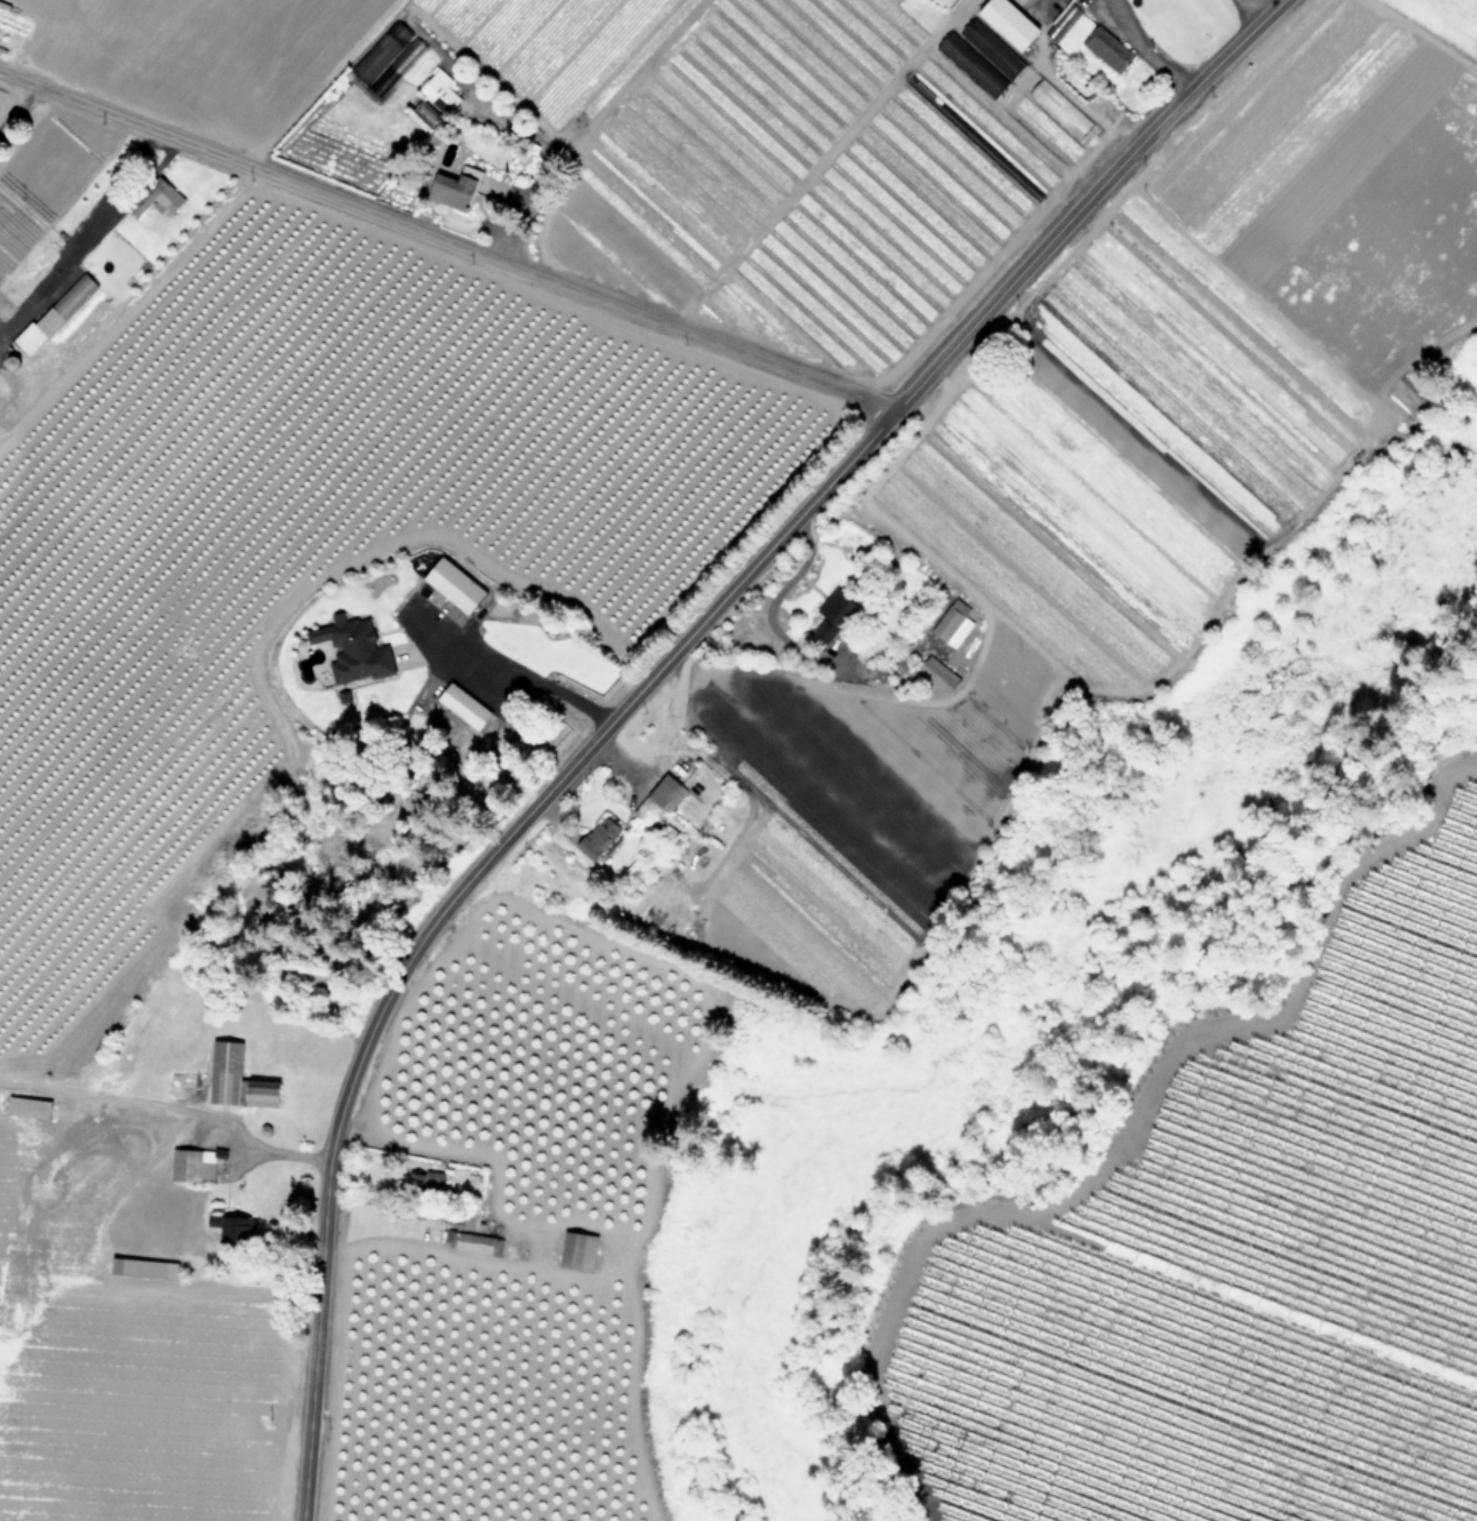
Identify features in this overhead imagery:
road: (1250, 11)
crop: (1435, 26)
building: (1108, 50)
road: (1143, 50)
building: (387, 59)
building: (981, 59)
road: (1062, 87)
building: (939, 89)
building: (441, 93)
road: (16, 104)
building: (1060, 111)
crop: (675, 125)
road: (814, 158)
building: (458, 191)
building: (162, 201)
road: (1086, 202)
road: (82, 232)
road: (447, 242)
building: (48, 257)
building: (58, 315)
crop: (1047, 545)
building: (458, 588)
road: (771, 603)
building: (836, 620)
building: (951, 621)
building: (352, 654)
road: (514, 672)
crop: (281, 703)
building: (467, 707)
building: (668, 794)
building: (600, 838)
road: (454, 897)
building: (231, 1083)
building: (30, 1109)
road: (192, 1110)
building: (194, 1167)
building: (426, 1182)
road: (390, 1207)
building: (228, 1228)
building: (480, 1245)
crop: (1242, 1249)
building: (580, 1252)
building: (145, 1269)

